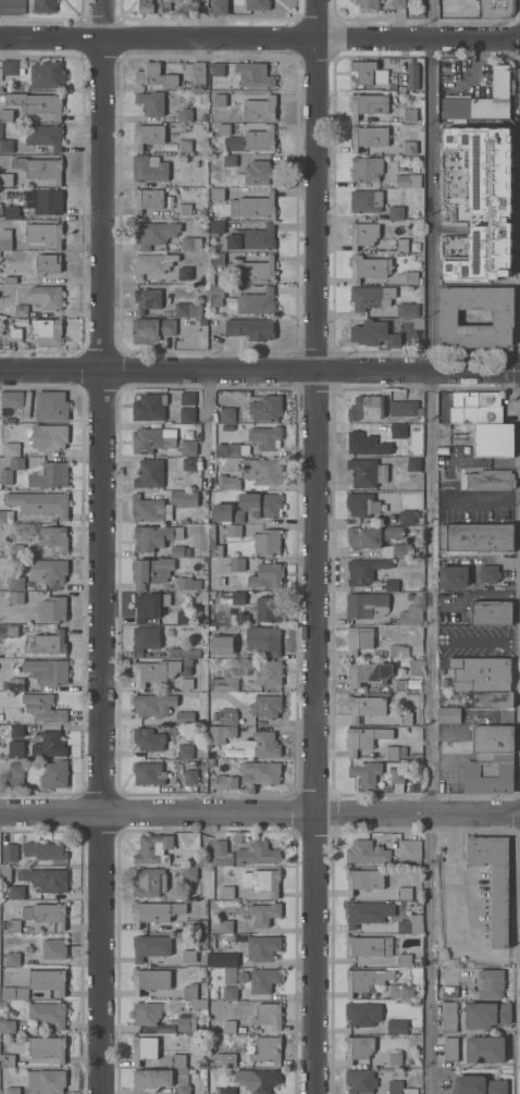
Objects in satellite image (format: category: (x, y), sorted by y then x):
building: (368, 3)
building: (257, 4)
building: (399, 4)
building: (45, 5)
building: (12, 7)
building: (154, 7)
building: (220, 8)
building: (496, 9)
road: (259, 30)
building: (12, 67)
building: (219, 71)
building: (369, 73)
building: (48, 75)
building: (199, 75)
building: (255, 75)
building: (156, 76)
building: (412, 76)
building: (392, 87)
building: (401, 89)
building: (220, 99)
building: (483, 100)
building: (37, 103)
building: (152, 103)
building: (369, 104)
building: (260, 108)
building: (7, 115)
building: (184, 115)
building: (409, 115)
building: (205, 117)
building: (185, 126)
building: (224, 128)
building: (1, 130)
building: (45, 136)
building: (148, 136)
building: (370, 136)
building: (252, 140)
building: (7, 146)
building: (185, 146)
building: (409, 147)
building: (230, 160)
building: (40, 167)
building: (149, 169)
building: (367, 169)
building: (256, 174)
building: (5, 179)
building: (403, 182)
building: (218, 194)
building: (147, 199)
building: (45, 201)
building: (366, 201)
building: (485, 202)
building: (251, 207)
building: (185, 210)
building: (203, 210)
building: (0, 212)
building: (12, 212)
building: (396, 212)
building: (216, 227)
building: (205, 229)
building: (156, 233)
building: (45, 234)
building: (363, 234)
building: (5, 239)
building: (251, 239)
building: (190, 243)
building: (401, 245)
building: (216, 259)
building: (48, 263)
building: (152, 264)
building: (369, 268)
building: (257, 271)
building: (185, 274)
building: (410, 277)
building: (10, 281)
building: (216, 295)
building: (47, 297)
building: (371, 297)
building: (147, 299)
building: (257, 302)
building: (22, 310)
building: (188, 310)
building: (407, 310)
building: (504, 316)
building: (203, 321)
building: (250, 328)
building: (152, 330)
building: (47, 331)
building: (374, 334)
building: (15, 335)
road: (259, 364)
building: (11, 398)
building: (187, 399)
building: (27, 403)
building: (51, 406)
building: (150, 407)
building: (267, 408)
building: (363, 408)
building: (405, 408)
building: (475, 408)
building: (228, 414)
building: (187, 415)
road: (208, 423)
building: (398, 431)
building: (49, 437)
building: (265, 437)
building: (493, 439)
building: (152, 440)
building: (366, 445)
building: (188, 447)
building: (11, 449)
building: (232, 449)
building: (219, 460)
building: (232, 462)
building: (189, 464)
building: (414, 464)
building: (261, 473)
building: (363, 473)
building: (150, 474)
building: (50, 475)
building: (7, 476)
building: (488, 480)
building: (227, 482)
building: (184, 497)
building: (39, 504)
building: (261, 505)
building: (362, 505)
building: (149, 509)
building: (227, 513)
building: (35, 515)
building: (5, 517)
building: (407, 517)
building: (234, 531)
building: (53, 537)
building: (154, 537)
building: (480, 537)
building: (379, 540)
building: (213, 543)
building: (269, 543)
road: (432, 546)
road: (101, 547)
road: (314, 547)
building: (179, 551)
building: (238, 564)
building: (48, 571)
building: (151, 571)
building: (364, 571)
building: (490, 574)
building: (268, 576)
building: (453, 577)
building: (221, 582)
building: (11, 583)
building: (188, 584)
building: (392, 585)
building: (16, 597)
building: (149, 605)
building: (367, 606)
building: (53, 609)
building: (269, 609)
building: (492, 613)
building: (411, 616)
building: (184, 617)
building: (203, 621)
building: (210, 629)
building: (12, 631)
building: (146, 639)
building: (264, 639)
building: (359, 639)
building: (51, 643)
building: (220, 648)
building: (397, 651)
building: (184, 652)
building: (416, 668)
building: (48, 671)
building: (156, 671)
building: (441, 671)
building: (270, 673)
building: (368, 673)
building: (481, 674)
building: (225, 681)
building: (446, 683)
building: (14, 684)
building: (186, 684)
building: (399, 686)
building: (201, 695)
building: (490, 699)
building: (153, 705)
building: (267, 707)
building: (366, 707)
building: (44, 708)
building: (228, 716)
building: (449, 716)
building: (1, 718)
building: (185, 718)
building: (405, 718)
building: (17, 731)
building: (222, 734)
building: (364, 738)
building: (148, 739)
building: (493, 739)
building: (49, 745)
building: (262, 745)
building: (16, 748)
building: (186, 751)
building: (392, 751)
building: (403, 751)
building: (413, 757)
building: (210, 762)
building: (189, 763)
building: (261, 772)
building: (16, 773)
building: (149, 773)
building: (186, 773)
building: (490, 773)
building: (368, 774)
building: (54, 775)
building: (398, 776)
building: (226, 782)
road: (260, 810)
building: (153, 849)
building: (410, 849)
building: (45, 851)
building: (10, 853)
building: (367, 853)
building: (222, 854)
building: (257, 854)
building: (189, 873)
building: (4, 874)
building: (46, 880)
building: (363, 880)
building: (263, 881)
building: (150, 883)
building: (494, 883)
building: (226, 892)
building: (17, 893)
building: (405, 893)
building: (4, 894)
road: (454, 911)
building: (156, 912)
building: (46, 913)
building: (264, 913)
building: (368, 913)
building: (410, 924)
building: (14, 927)
building: (196, 927)
building: (225, 927)
building: (219, 943)
building: (369, 946)
building: (150, 947)
building: (263, 948)
building: (53, 949)
building: (12, 959)
building: (191, 959)
building: (225, 960)
building: (405, 960)
building: (230, 975)
building: (243, 977)
building: (150, 980)
building: (366, 980)
building: (48, 981)
building: (264, 981)
building: (490, 984)
building: (449, 986)
building: (190, 992)
building: (401, 992)
building: (14, 994)
building: (230, 994)
building: (198, 1004)
building: (3, 1006)
building: (147, 1012)
building: (48, 1014)
building: (269, 1015)
building: (362, 1015)
building: (486, 1015)
building: (449, 1017)
building: (186, 1023)
building: (7, 1027)
building: (228, 1027)
building: (397, 1027)
building: (165, 1028)
building: (3, 1036)
building: (48, 1047)
building: (359, 1048)
building: (145, 1049)
building: (450, 1049)
building: (486, 1049)
building: (268, 1051)
building: (395, 1058)
building: (178, 1060)
building: (228, 1060)
building: (7, 1061)
building: (183, 1071)
building: (152, 1080)
building: (47, 1081)
building: (263, 1081)
building: (360, 1081)
building: (478, 1085)
building: (399, 1089)
building: (184, 1090)
building: (12, 1091)
building: (227, 1091)

